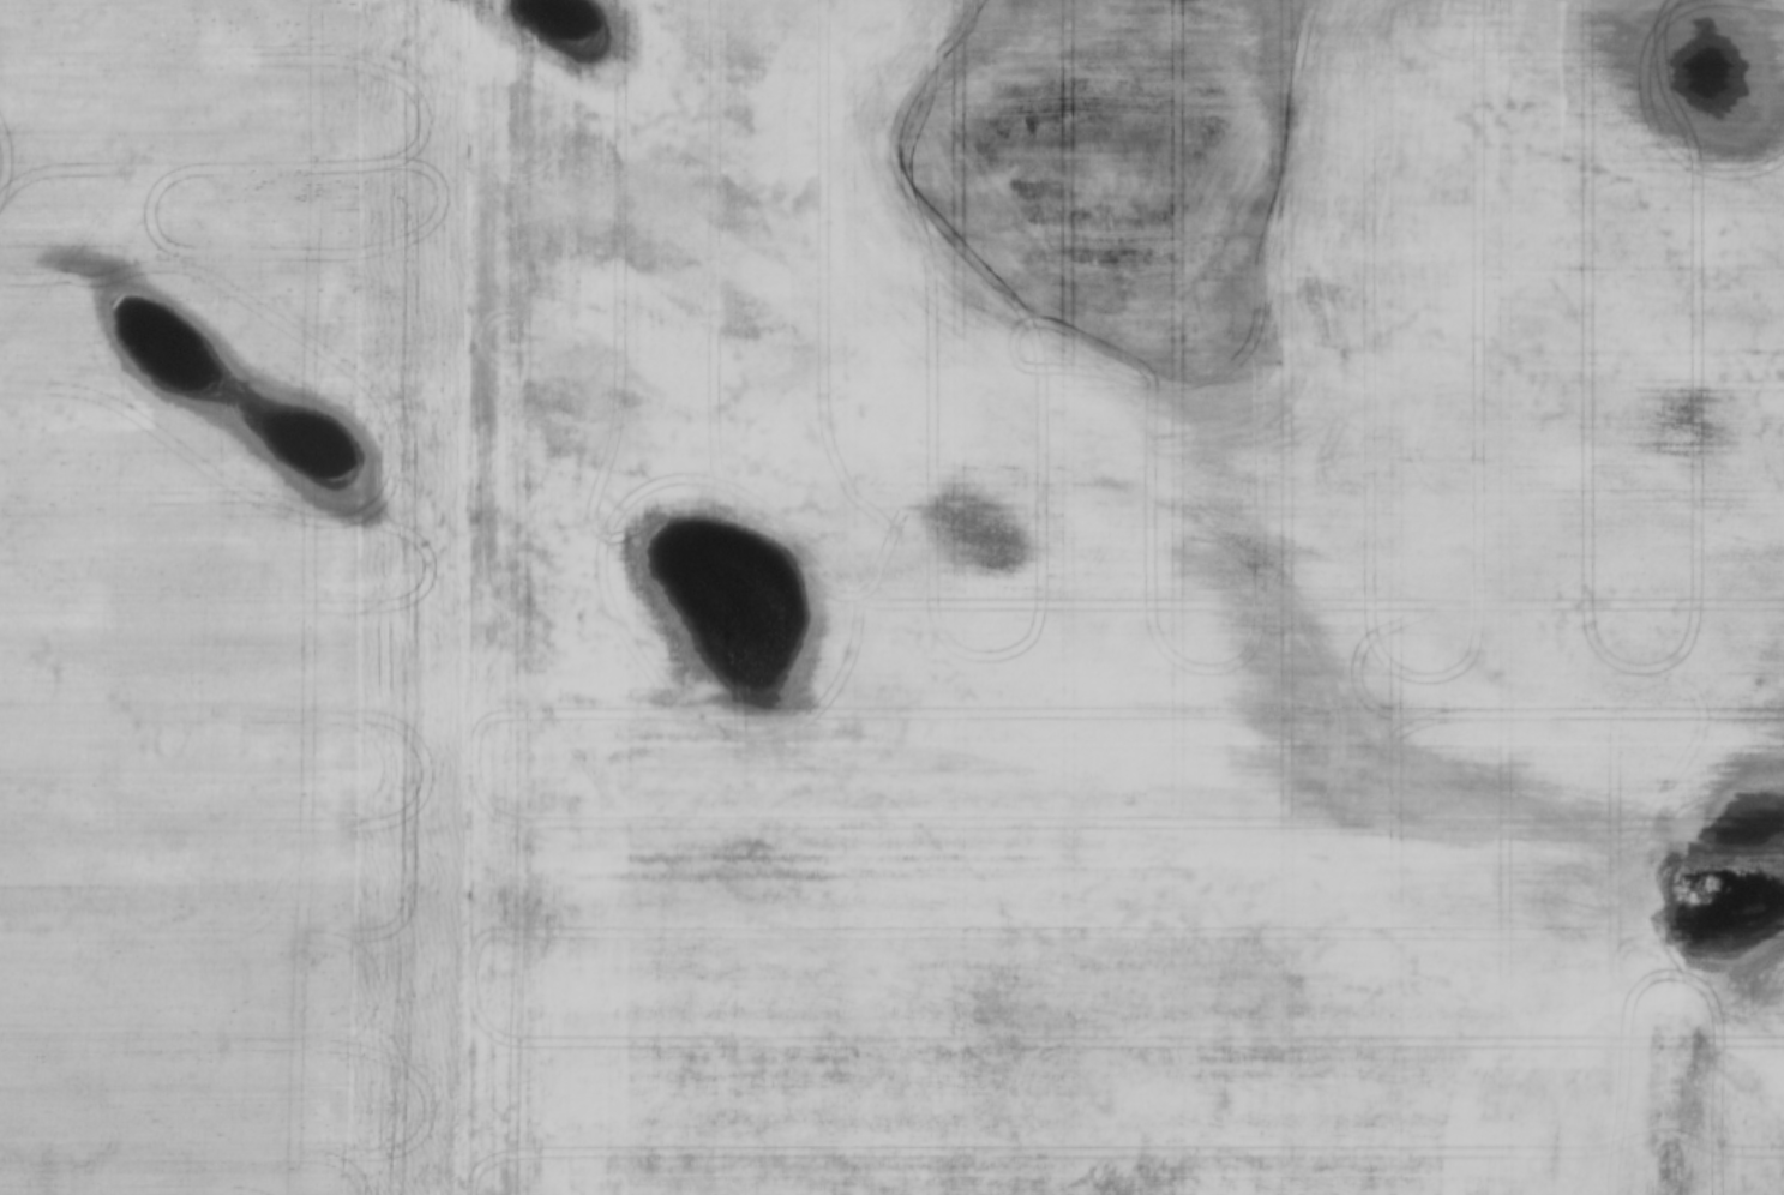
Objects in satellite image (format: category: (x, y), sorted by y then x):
crop: (1110, 586)

